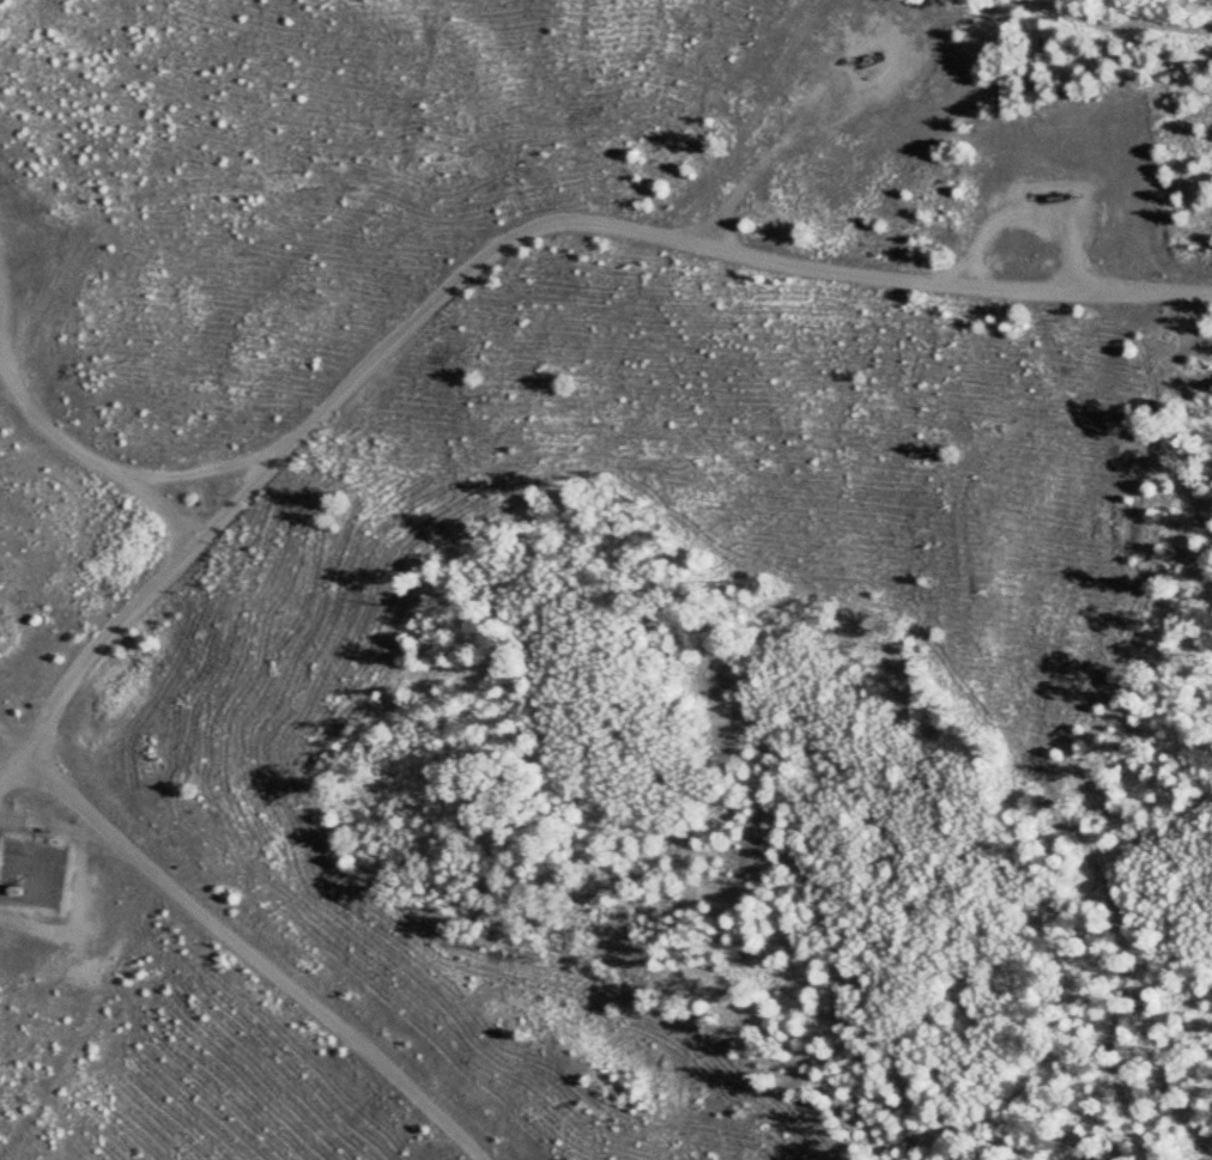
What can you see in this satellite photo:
petroleum well: (1054, 198)
road: (510, 254)
road: (79, 468)
road: (240, 943)

